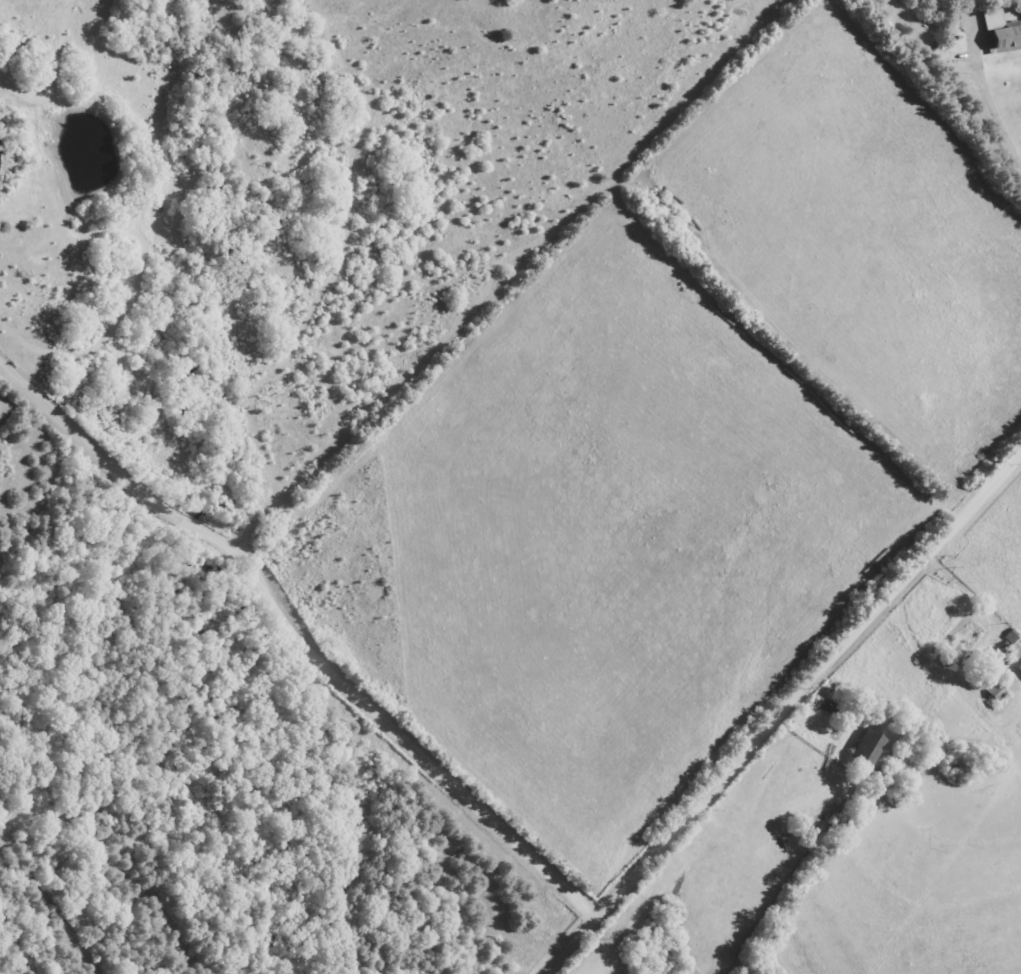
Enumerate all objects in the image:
building: (998, 34)
road: (961, 59)
road: (301, 639)
building: (962, 640)
road: (784, 711)
building: (862, 749)

